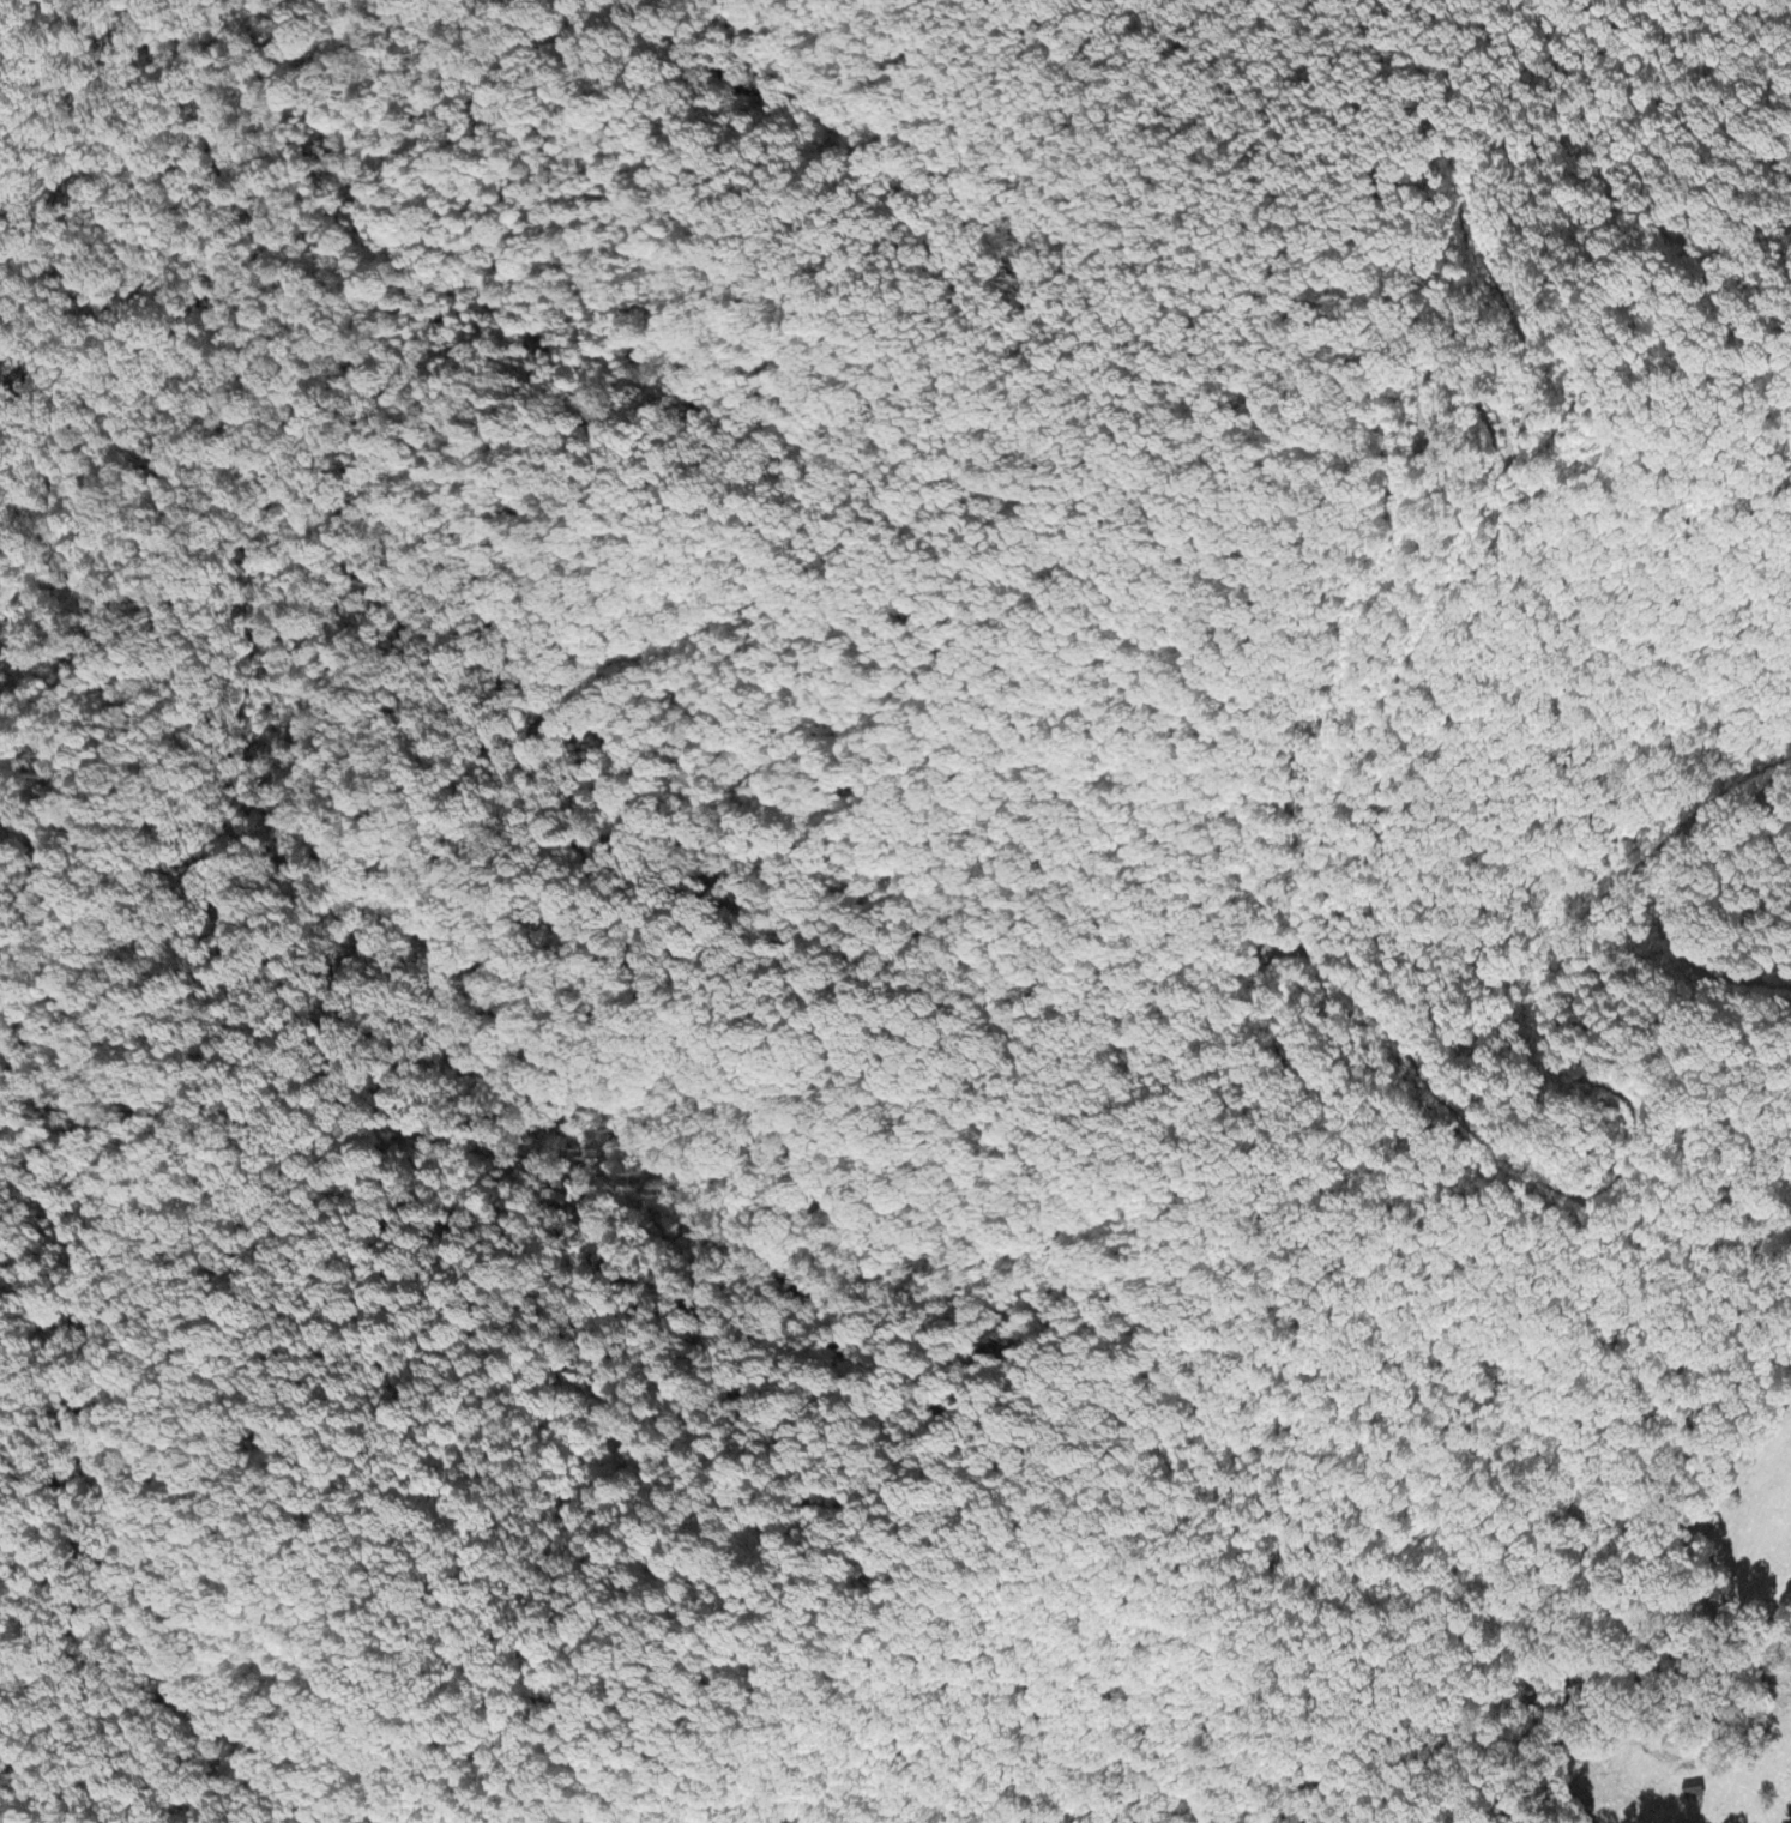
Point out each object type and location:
building: (1694, 1791)

